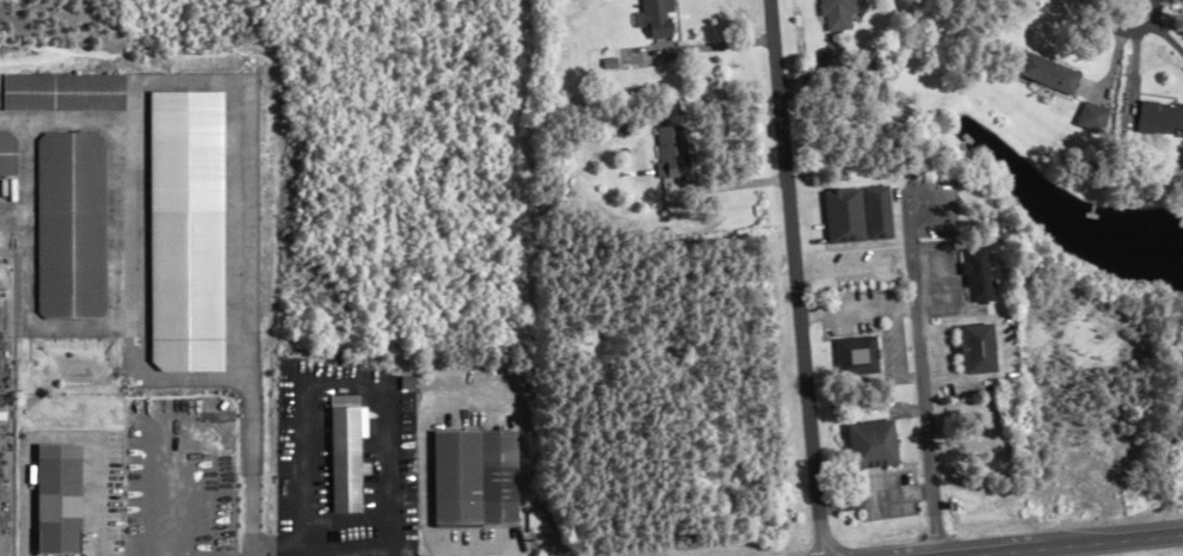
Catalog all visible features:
building: (837, 13)
building: (658, 18)
road: (1120, 31)
road: (1164, 43)
building: (1039, 76)
building: (63, 92)
building: (1077, 119)
building: (1150, 119)
building: (673, 150)
building: (7, 153)
building: (862, 214)
building: (72, 226)
building: (986, 274)
road: (794, 277)
road: (911, 314)
building: (986, 348)
building: (858, 357)
road: (377, 393)
building: (873, 445)
building: (351, 459)
building: (479, 477)
building: (62, 499)
road: (1090, 543)
road: (276, 546)
road: (979, 554)

